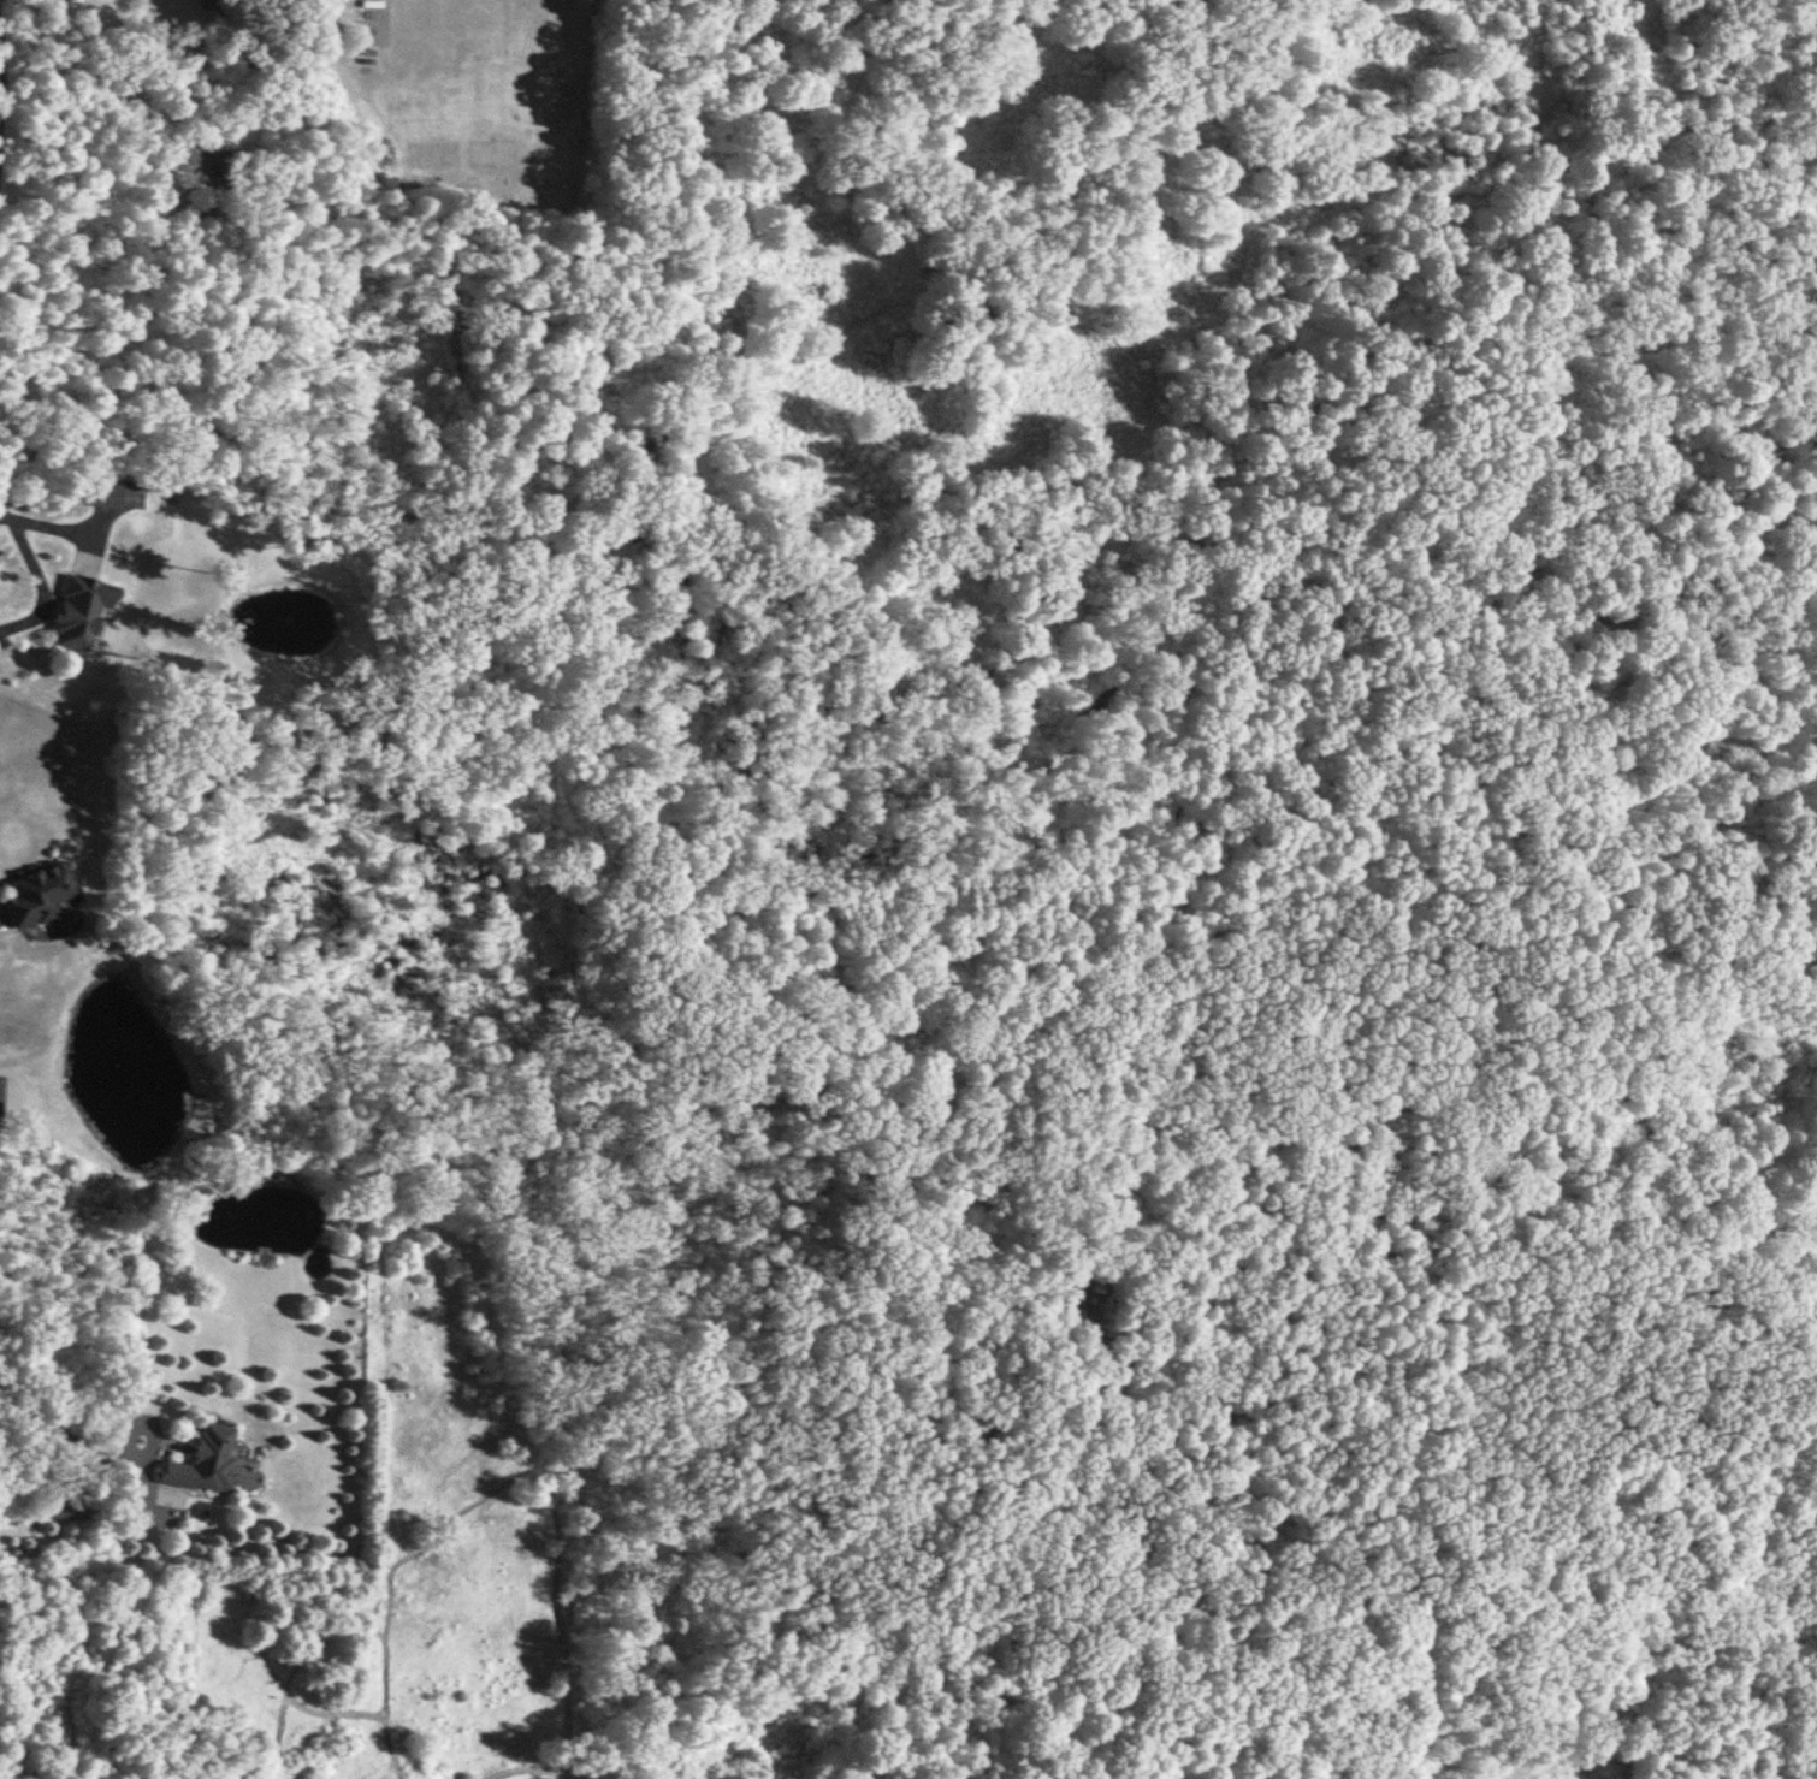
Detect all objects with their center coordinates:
building: (205, 10)
road: (0, 73)
building: (102, 494)
building: (77, 610)
building: (34, 894)
building: (0, 1080)
road: (65, 1440)
building: (207, 1463)
building: (61, 1506)

